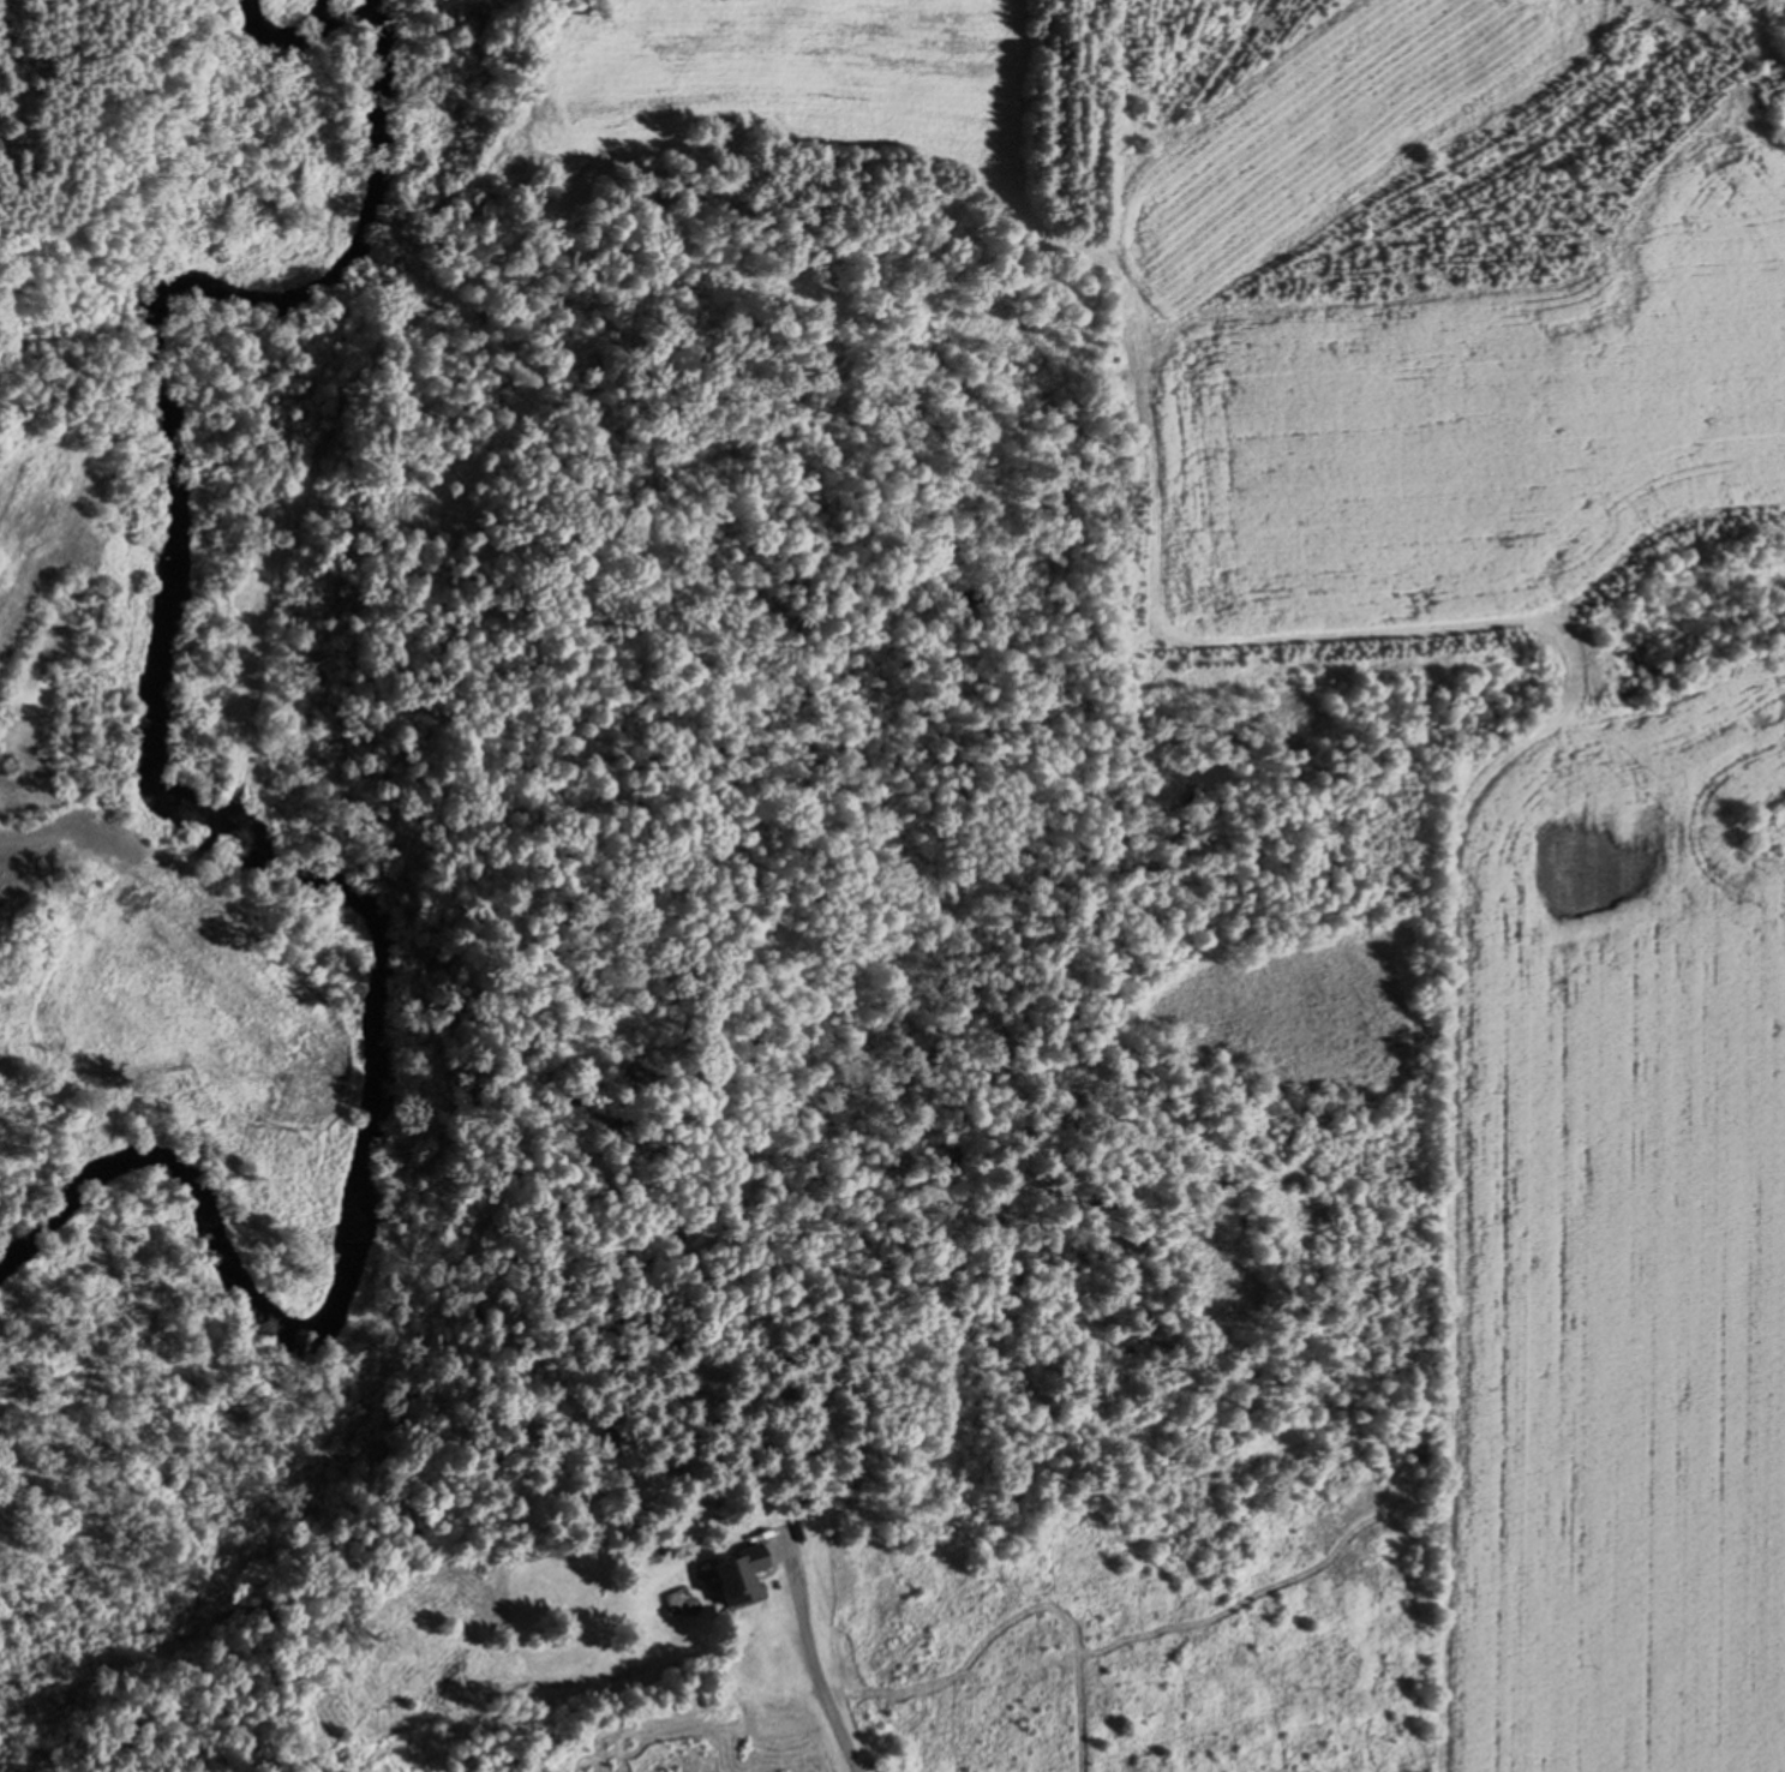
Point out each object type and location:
building: (741, 1575)

